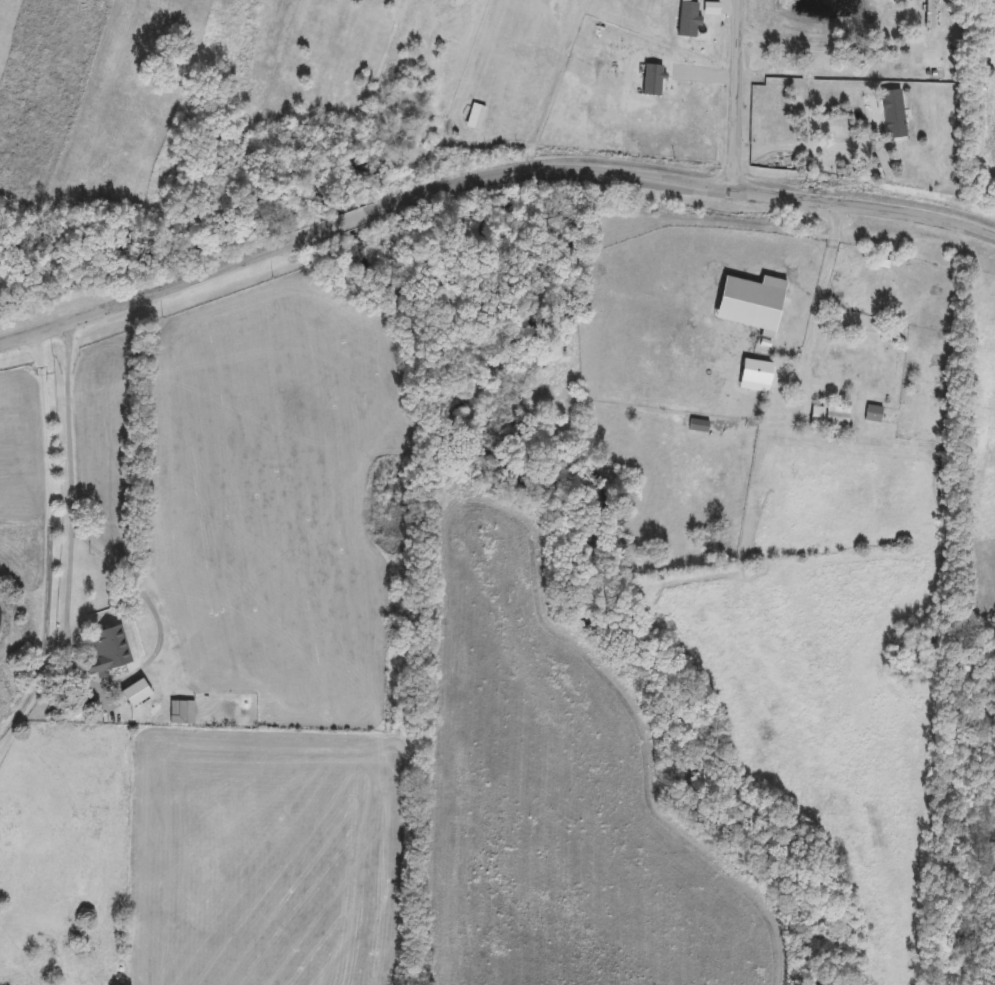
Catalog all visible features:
road: (826, 51)
building: (652, 81)
road: (733, 96)
road: (802, 147)
road: (486, 176)
road: (823, 296)
building: (754, 306)
building: (753, 365)
building: (834, 373)
building: (873, 410)
building: (826, 418)
road: (47, 540)
building: (709, 545)
road: (64, 620)
building: (107, 651)
building: (134, 693)
building: (180, 713)

